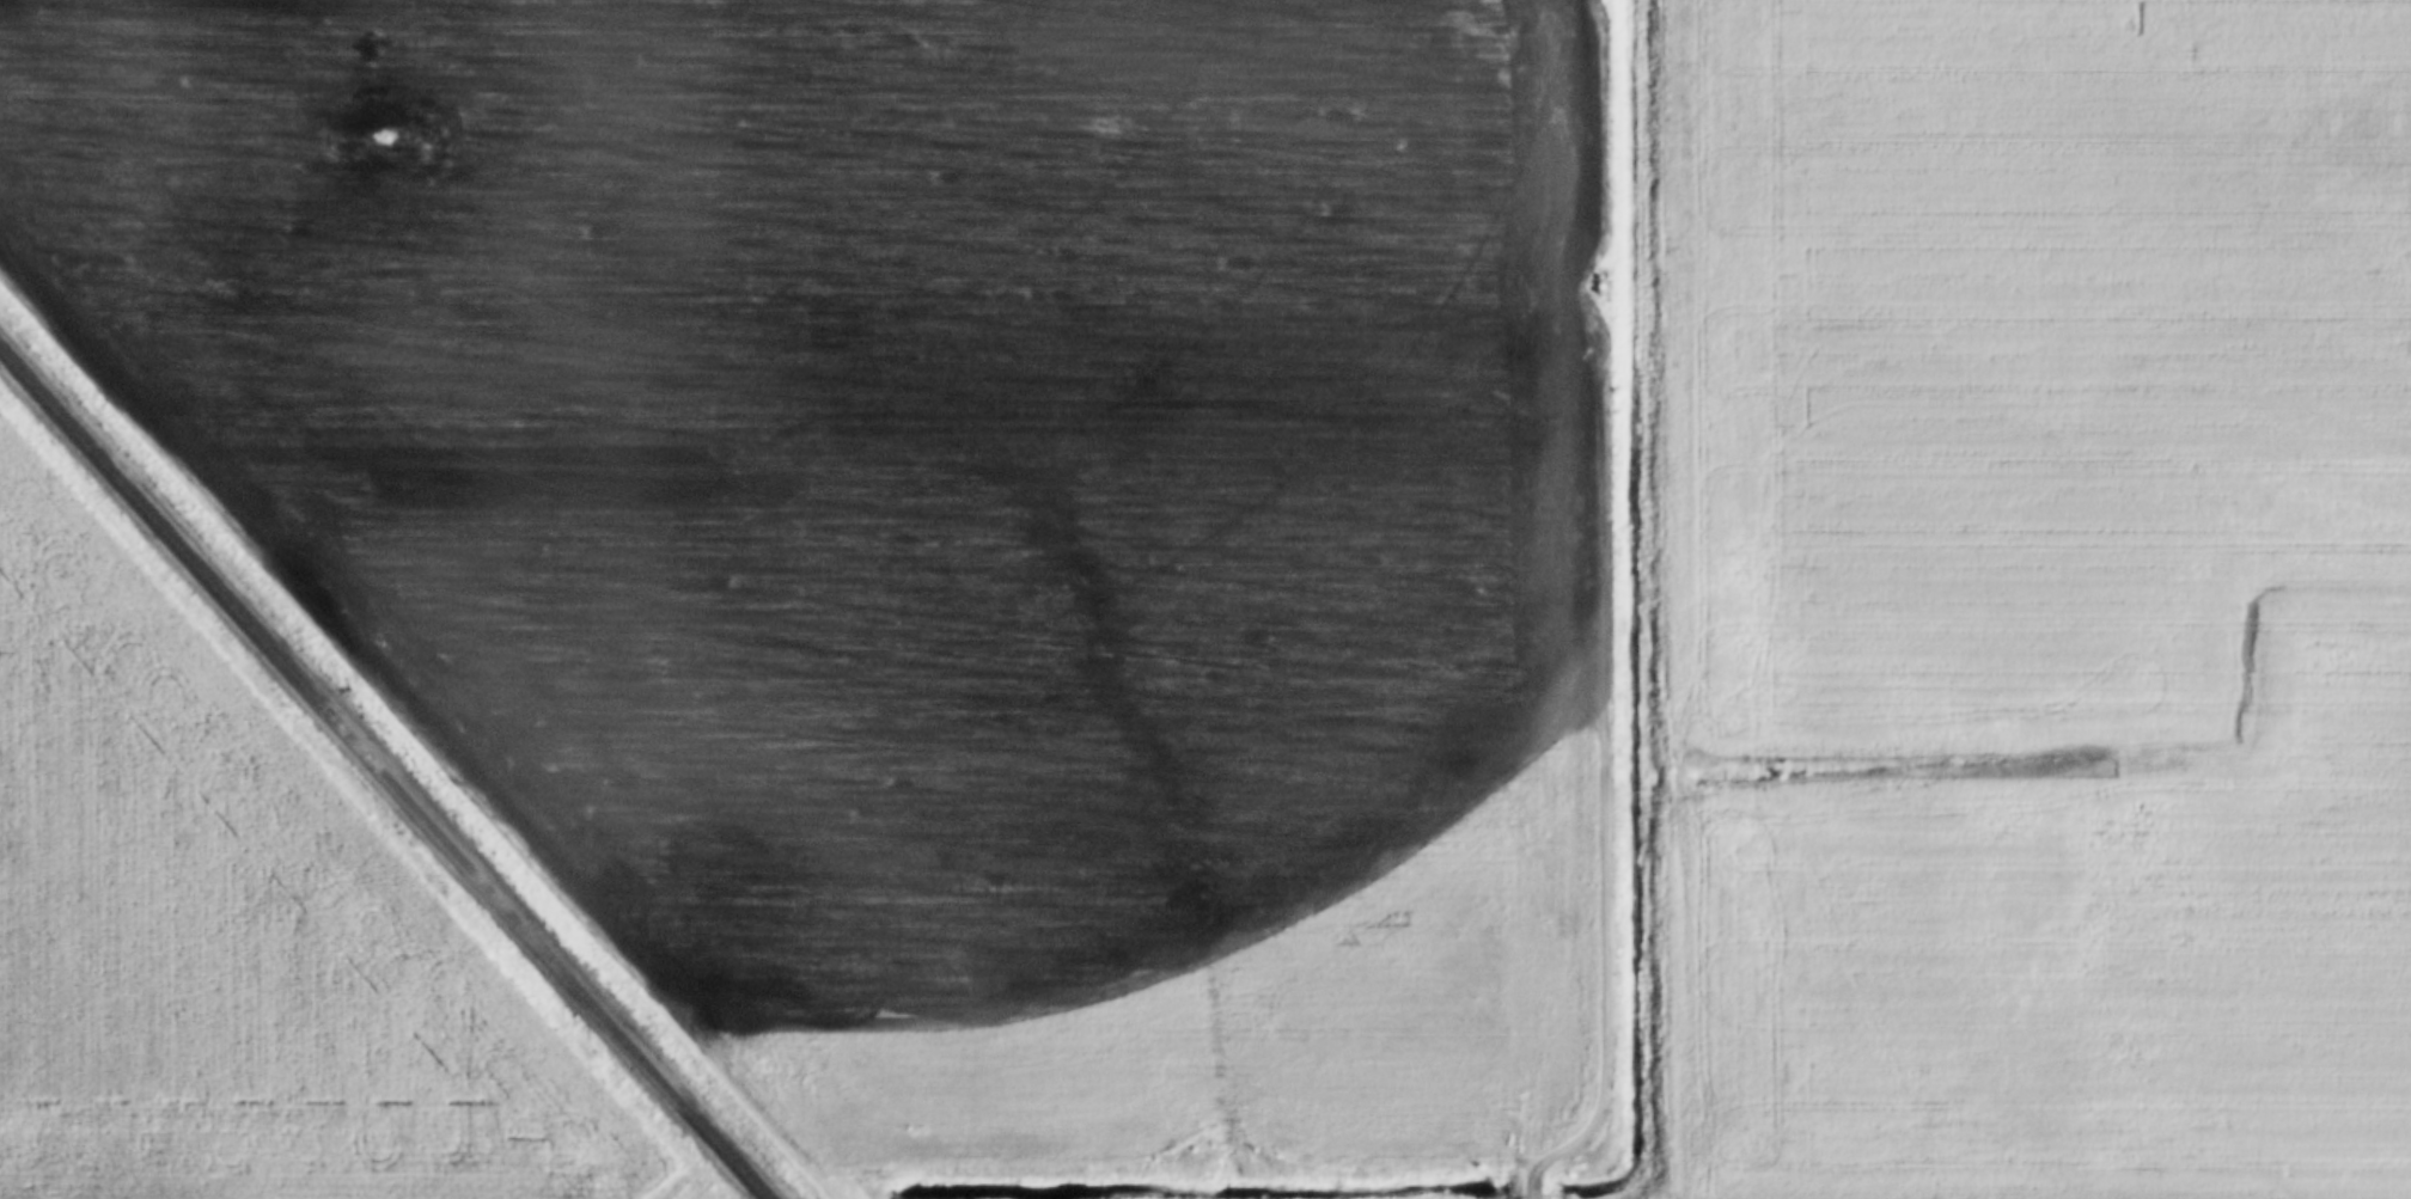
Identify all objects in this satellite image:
railway: (380, 777)

